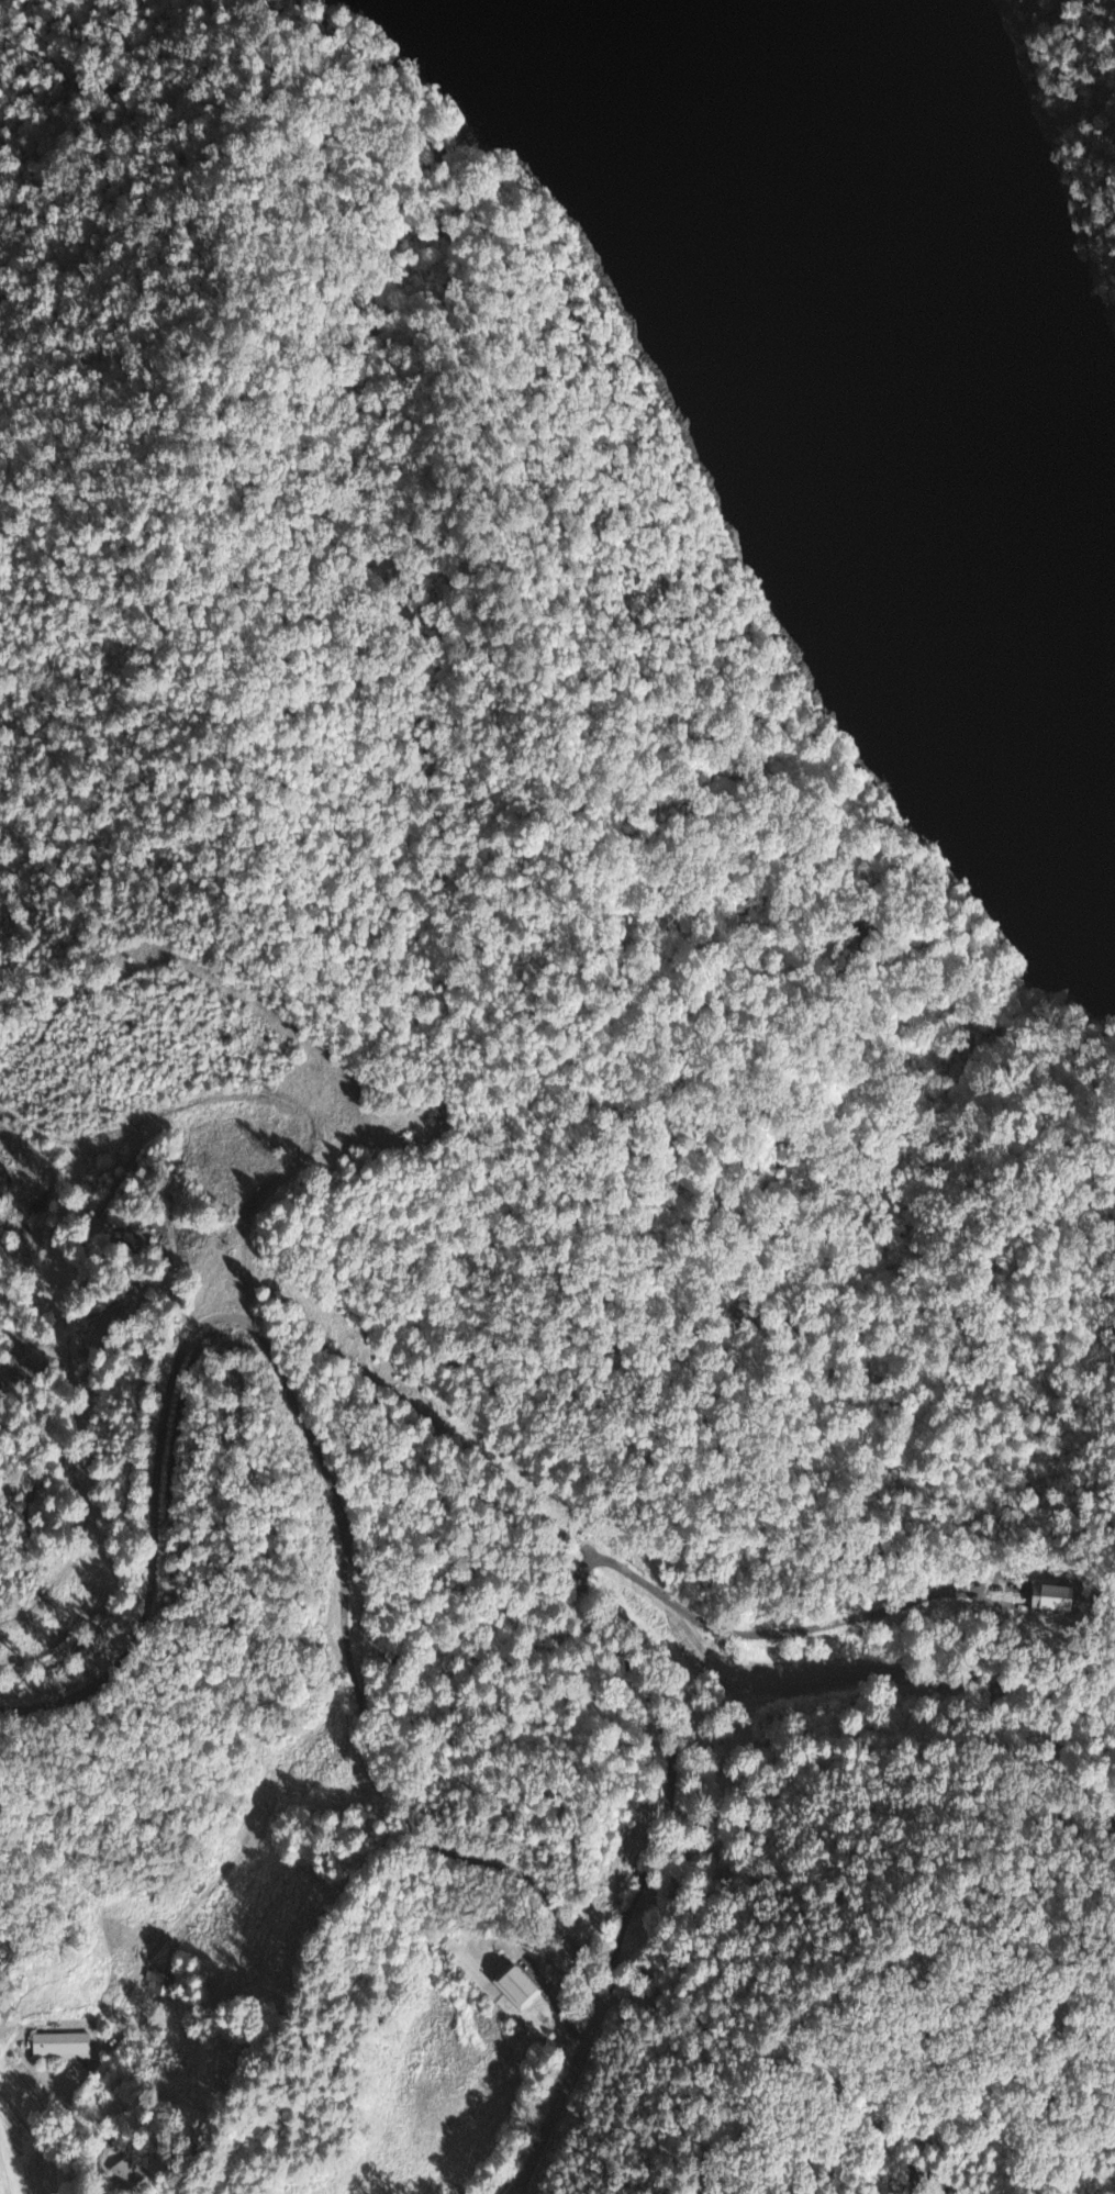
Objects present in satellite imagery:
river: (855, 333)
road: (138, 1514)
road: (353, 1719)
road: (623, 1964)
building: (512, 1992)
building: (57, 2049)
road: (122, 2175)

